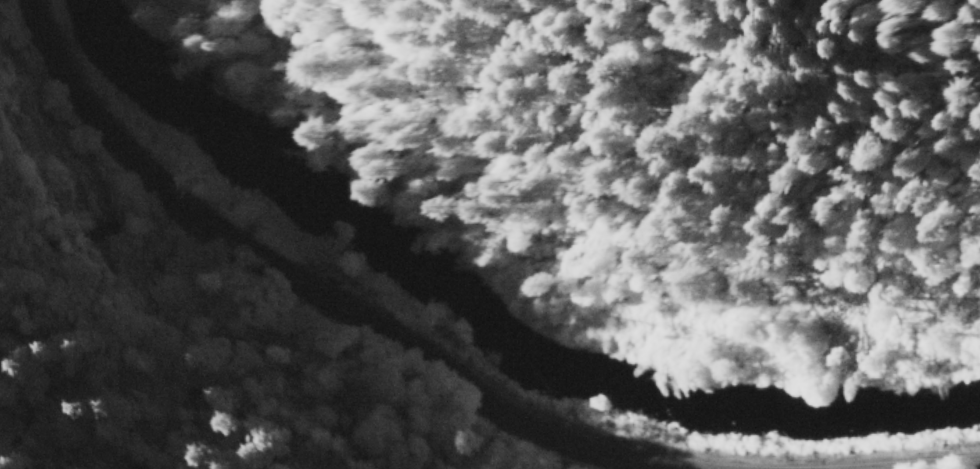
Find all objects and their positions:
road: (323, 304)
road: (960, 467)

